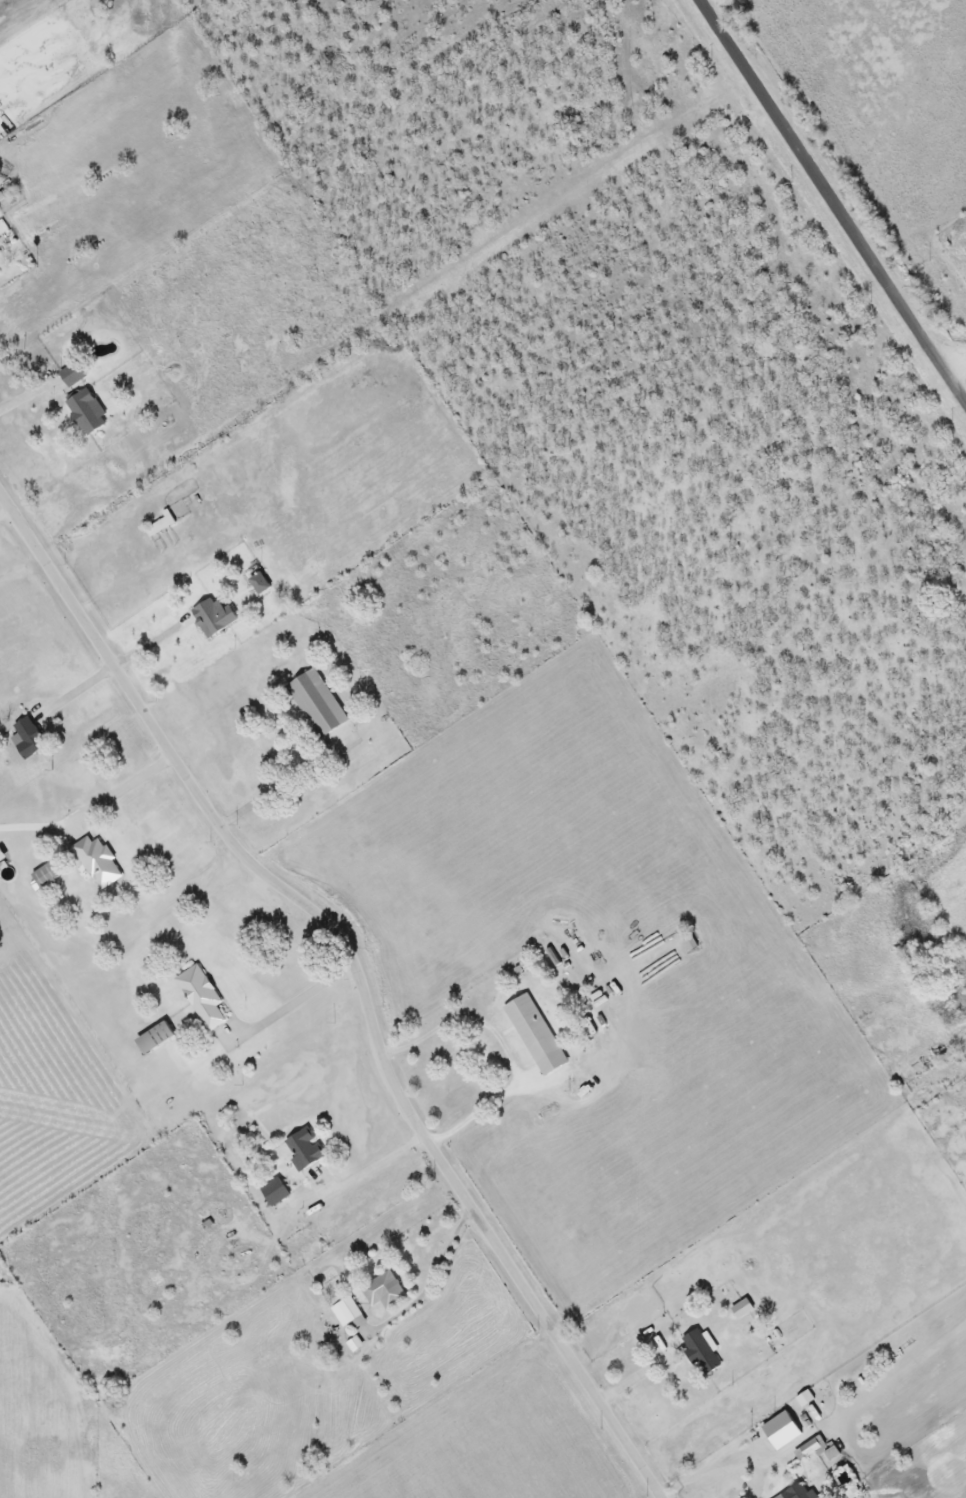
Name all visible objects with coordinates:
road: (834, 199)
road: (957, 365)
road: (26, 398)
building: (85, 413)
road: (6, 513)
building: (159, 527)
building: (210, 619)
road: (153, 646)
road: (77, 692)
building: (316, 704)
building: (27, 740)
road: (279, 787)
road: (125, 791)
building: (96, 863)
building: (43, 877)
road: (356, 977)
building: (200, 998)
road: (295, 1007)
building: (525, 1023)
building: (154, 1039)
road: (503, 1048)
building: (303, 1151)
road: (379, 1167)
building: (274, 1193)
road: (435, 1282)
building: (384, 1293)
building: (741, 1310)
building: (348, 1315)
building: (699, 1353)
road: (642, 1377)
building: (809, 1451)

